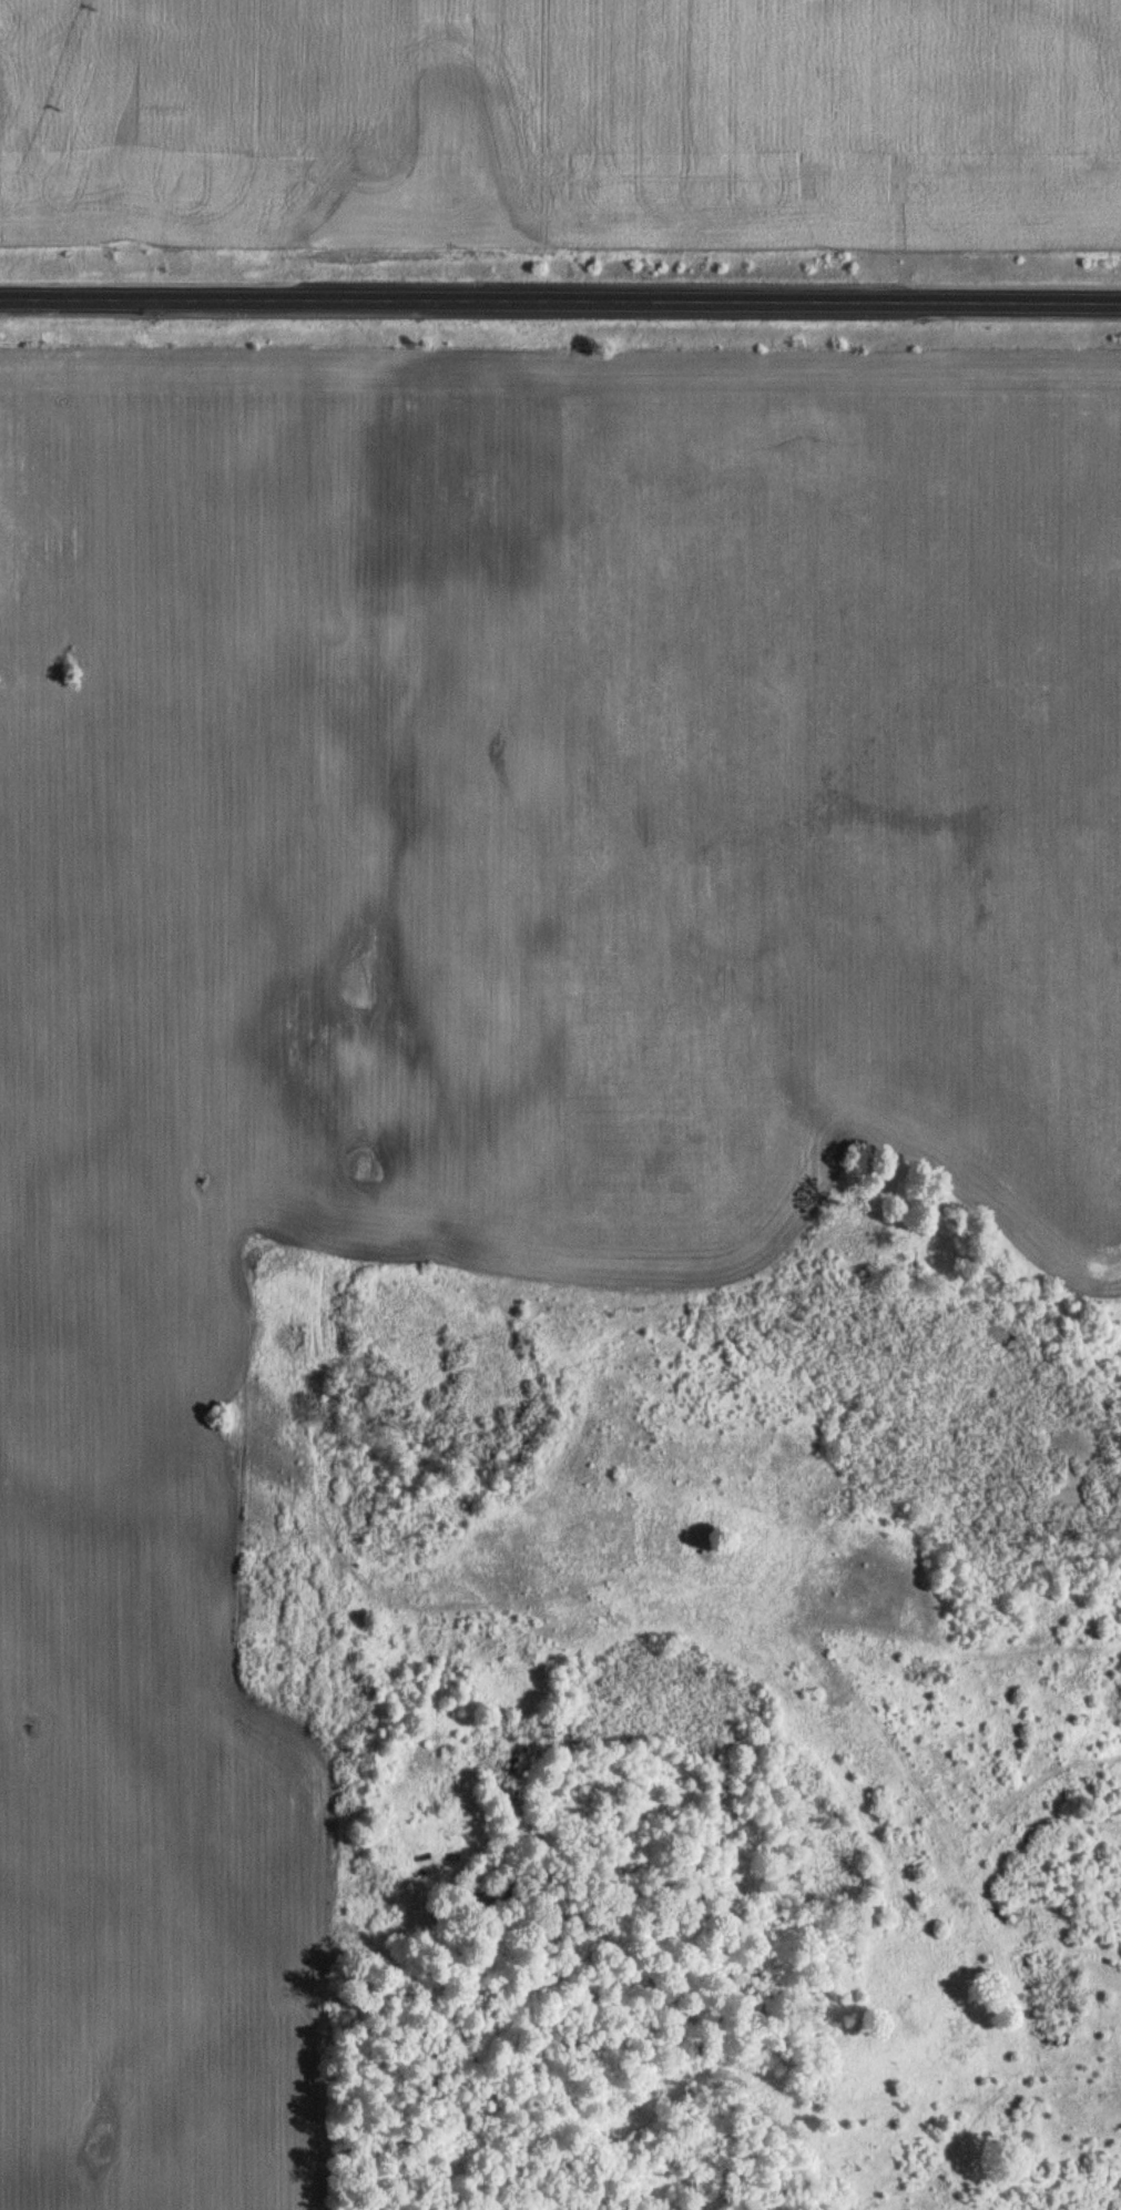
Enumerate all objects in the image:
road: (560, 303)

